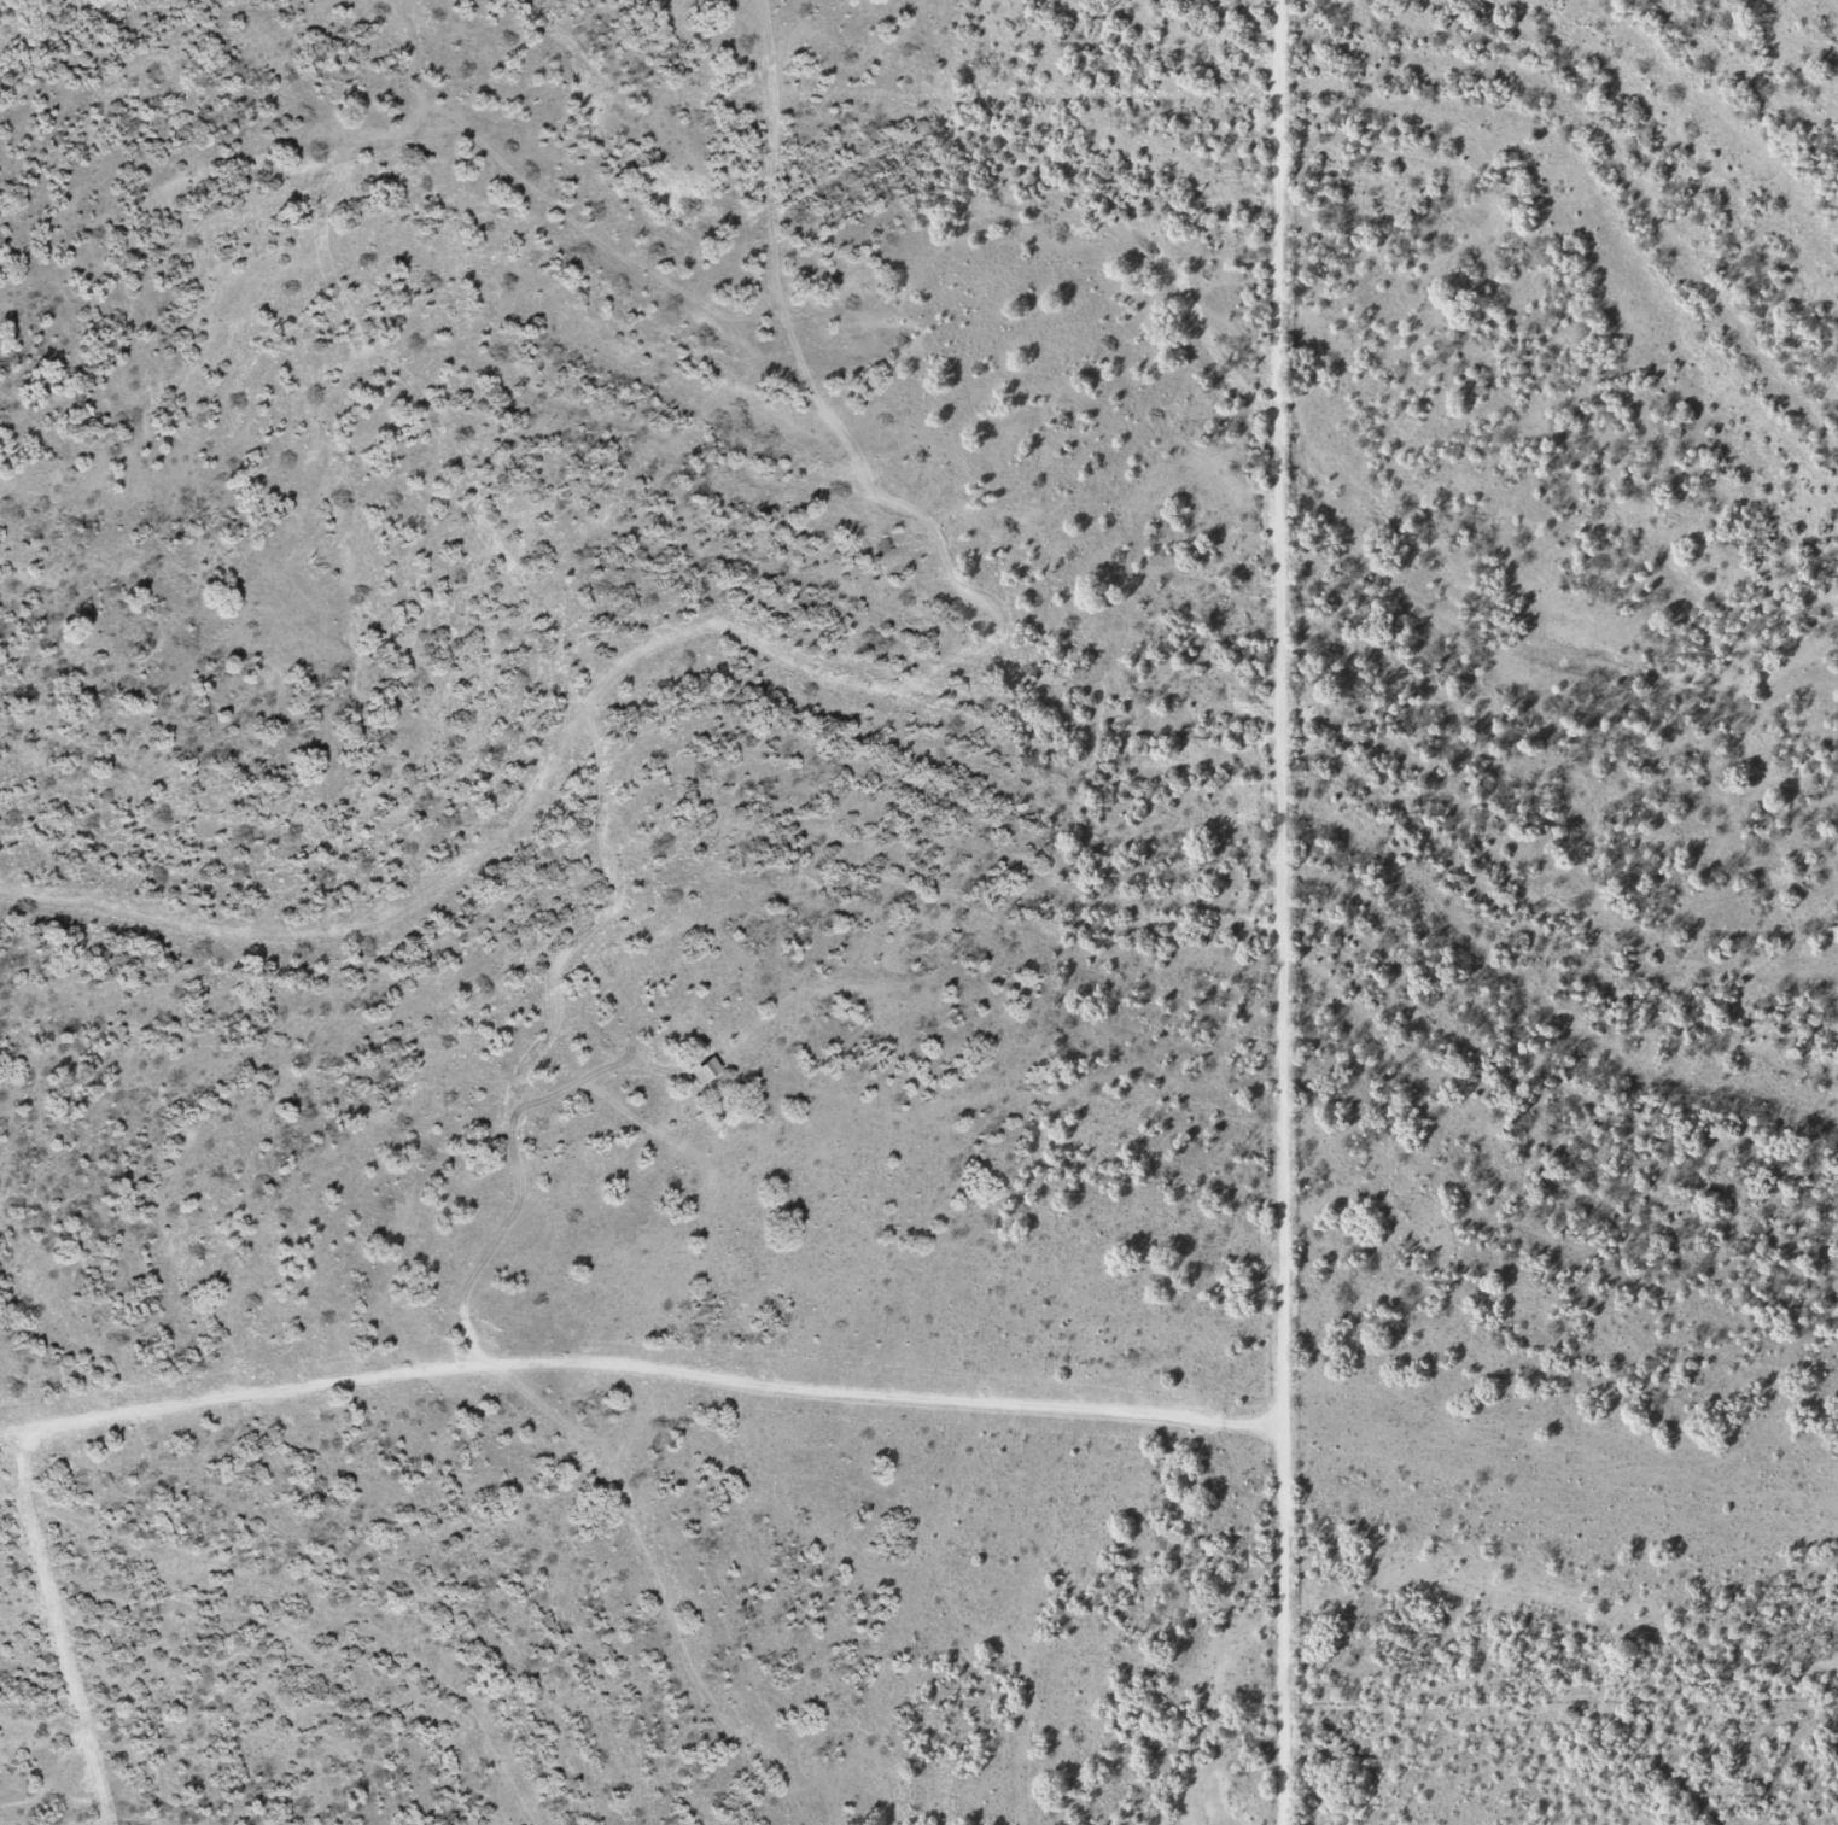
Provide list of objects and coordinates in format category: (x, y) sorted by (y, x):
road: (1248, 912)

